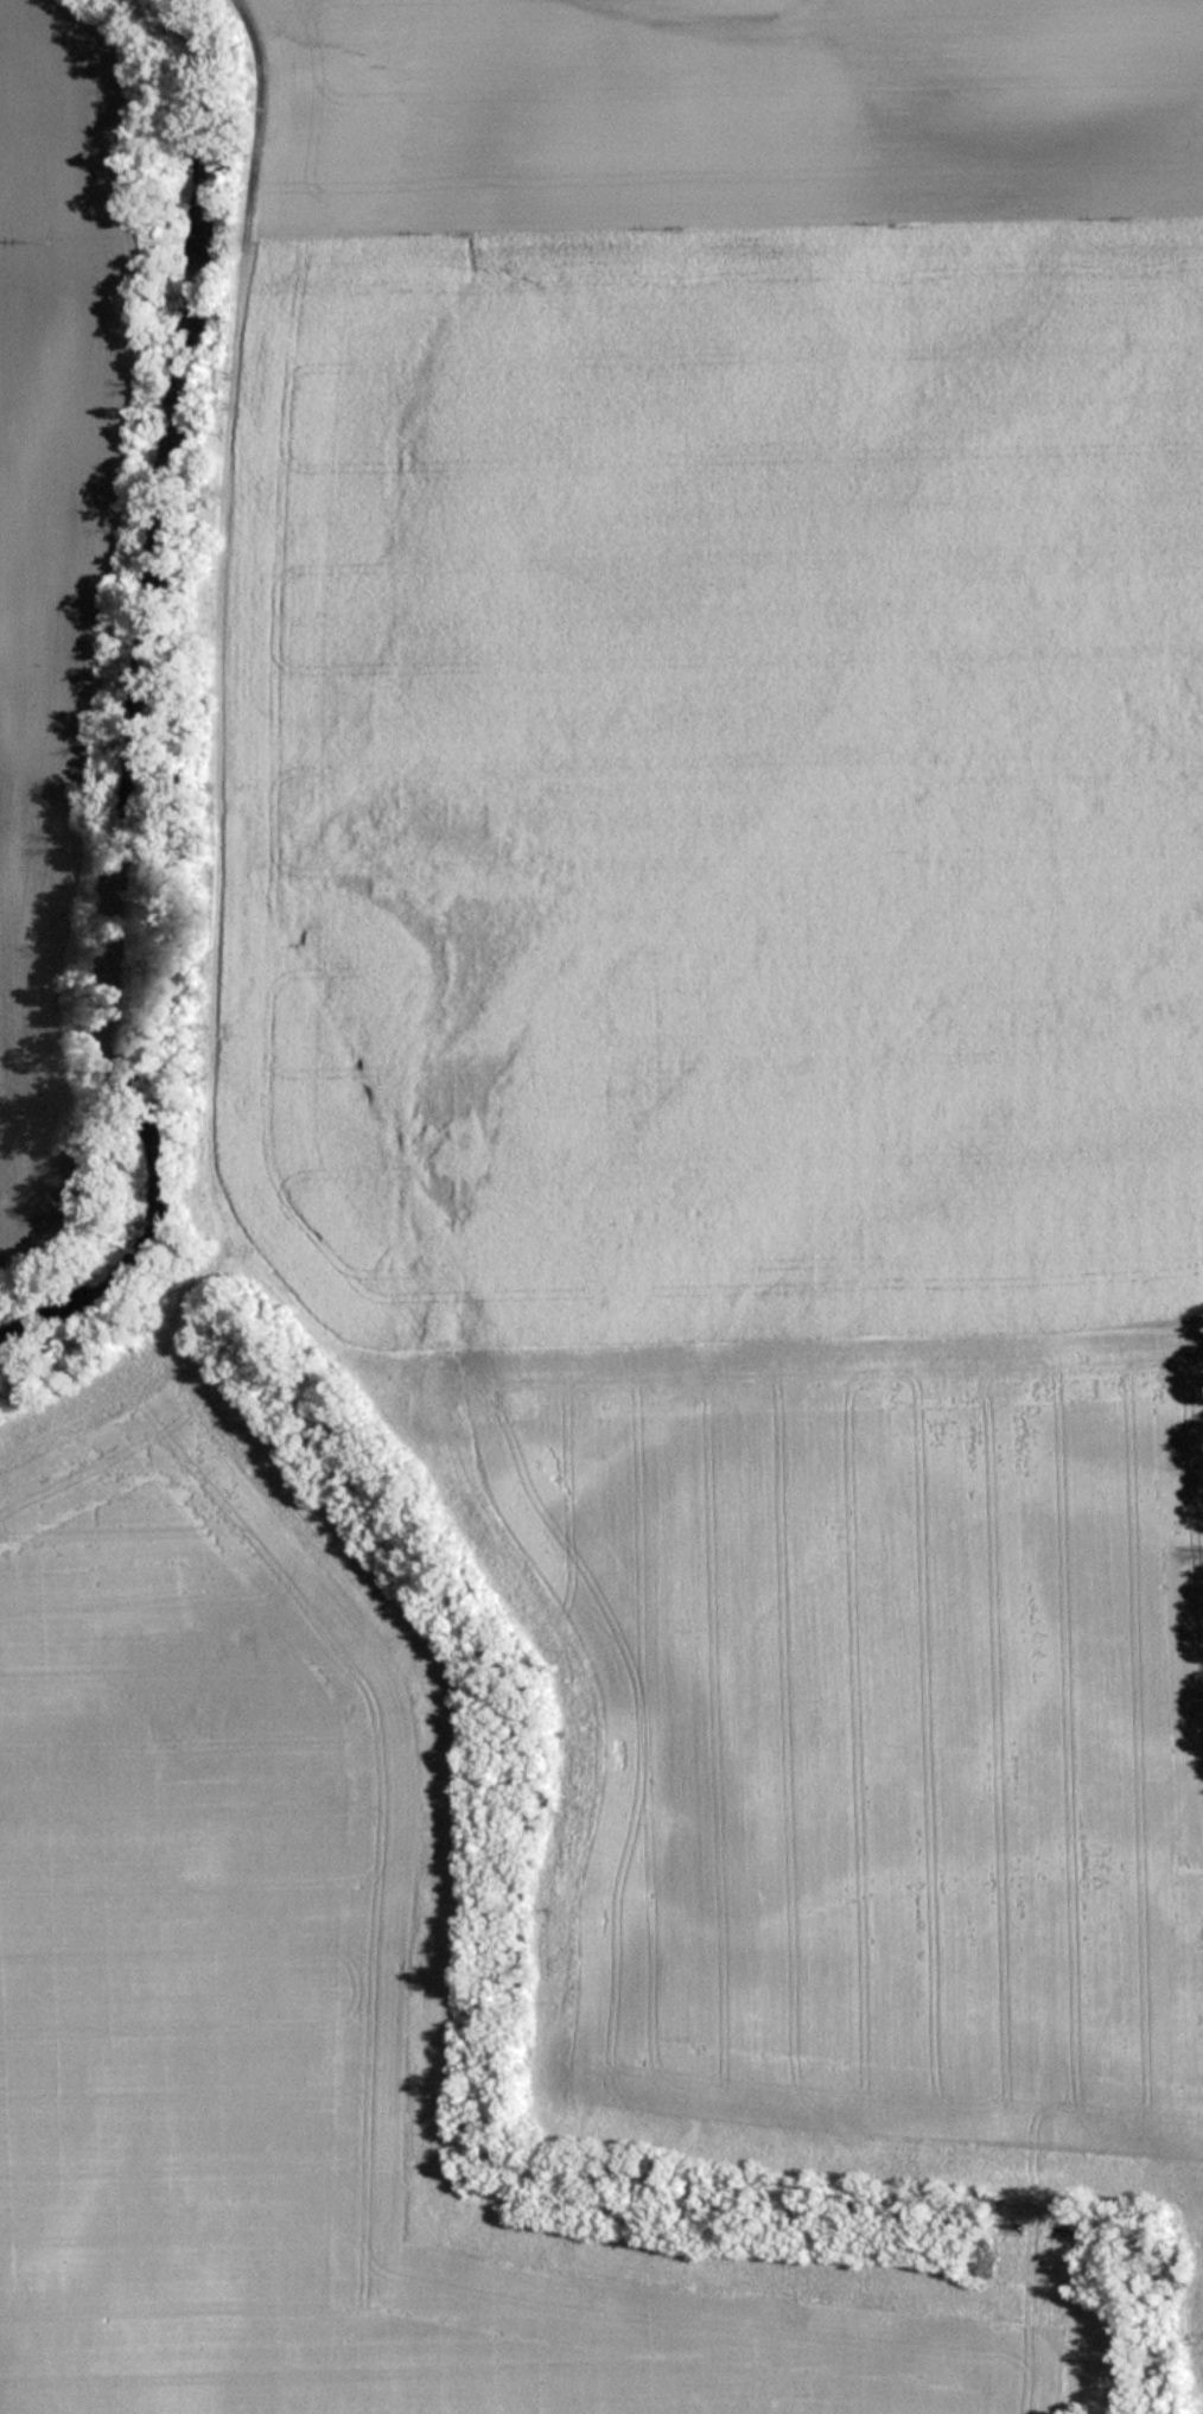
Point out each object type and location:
river: (202, 157)
building: (502, 787)

